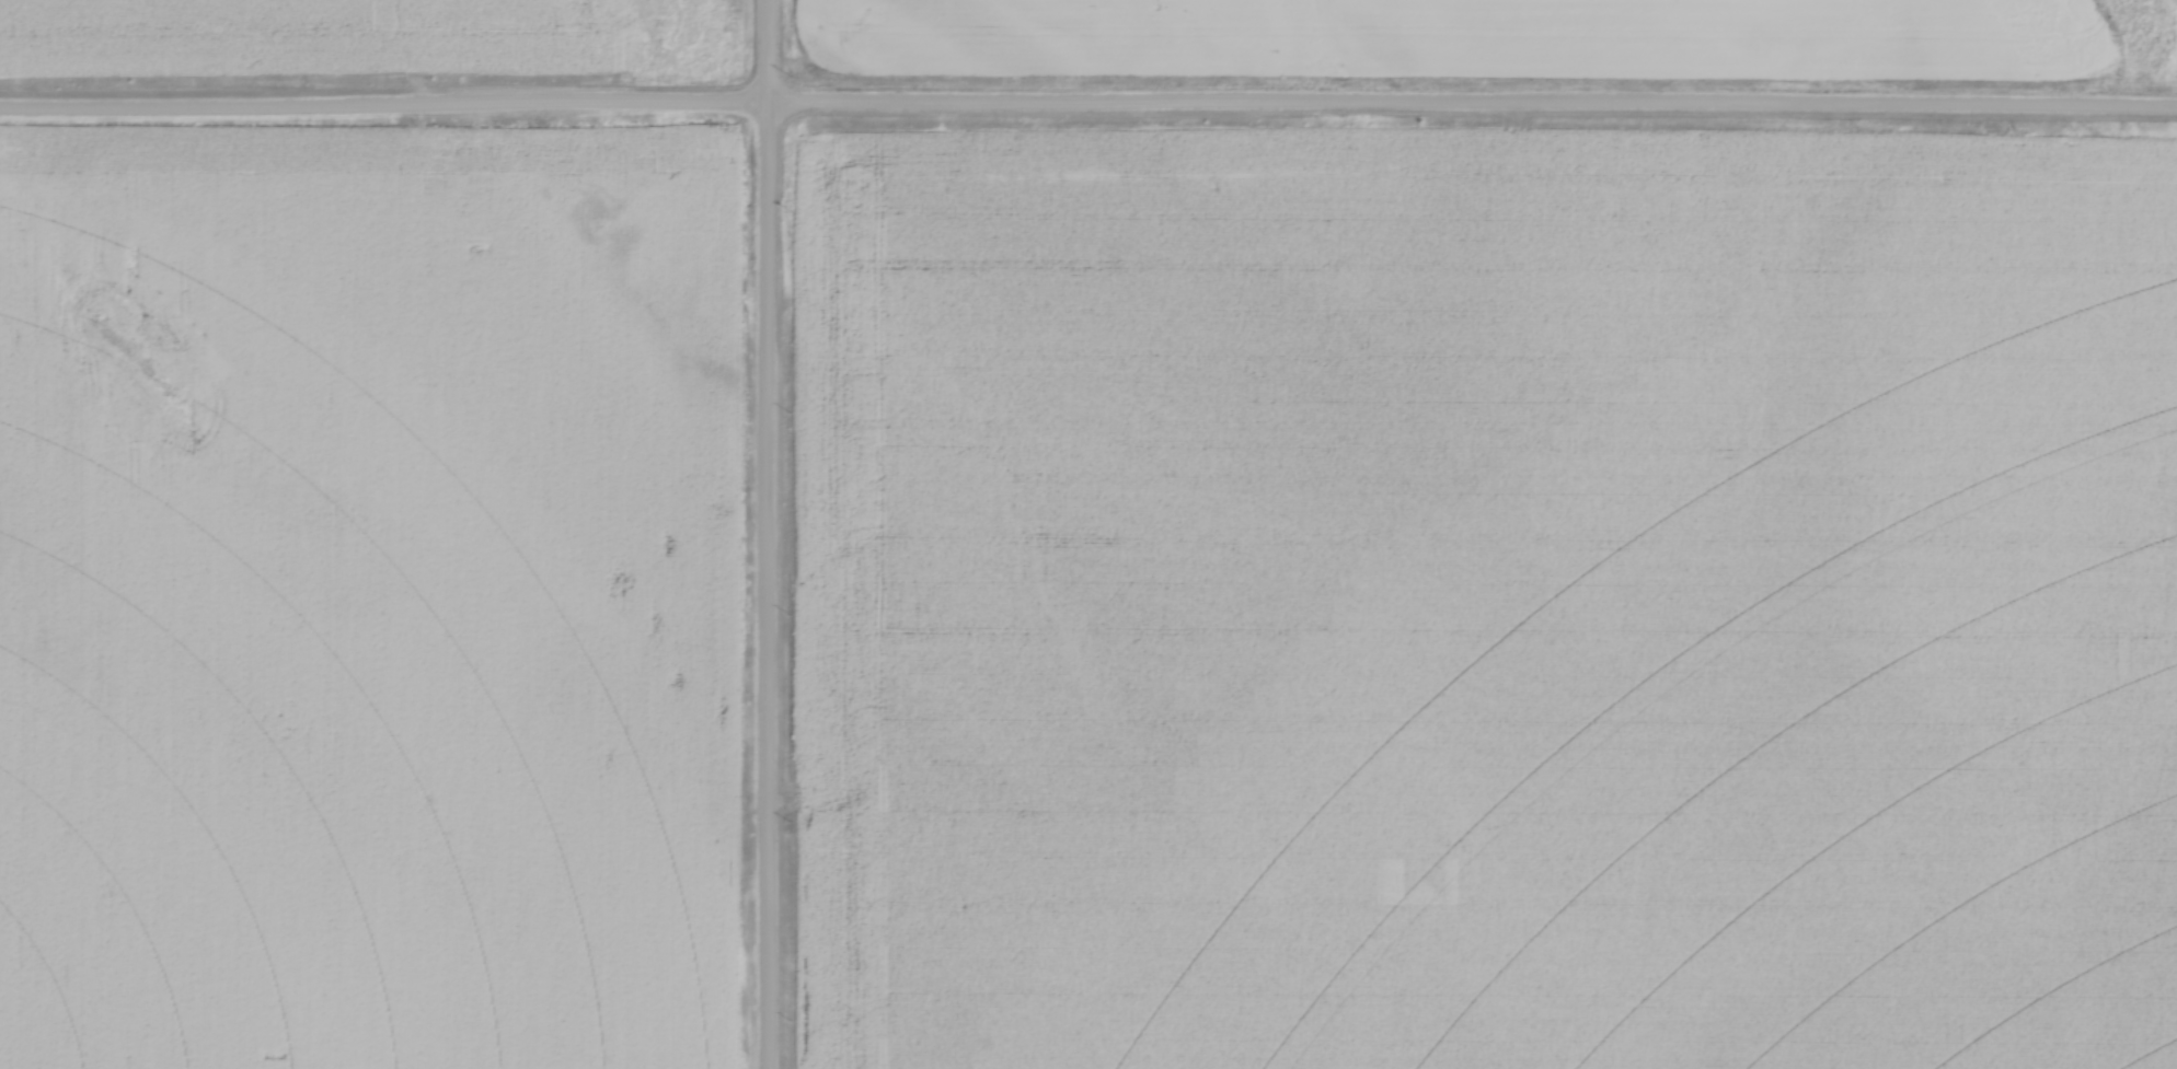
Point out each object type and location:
road: (1473, 107)
road: (384, 108)
road: (768, 534)
crop: (368, 604)

